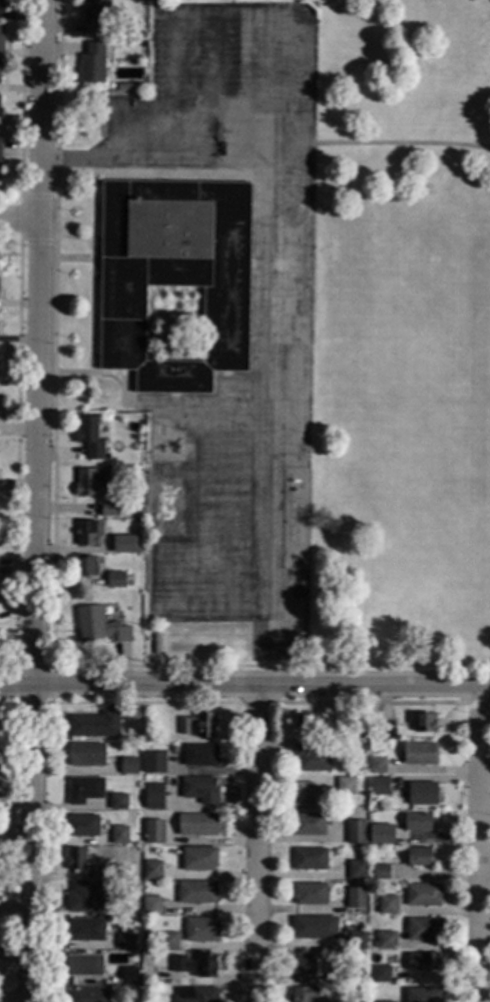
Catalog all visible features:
building: (1, 6)
building: (95, 17)
building: (1, 36)
building: (125, 47)
building: (94, 61)
building: (0, 75)
building: (125, 87)
road: (21, 98)
road: (55, 98)
building: (0, 107)
building: (1, 112)
road: (195, 123)
road: (400, 142)
building: (0, 148)
road: (80, 158)
road: (20, 219)
road: (19, 220)
building: (174, 275)
park: (439, 307)
park: (429, 333)
road: (53, 430)
building: (89, 437)
road: (17, 454)
park: (452, 474)
building: (90, 480)
road: (37, 501)
building: (109, 508)
building: (88, 532)
park: (225, 536)
park: (205, 538)
building: (127, 543)
building: (85, 565)
building: (115, 580)
building: (99, 625)
road: (245, 685)
road: (51, 703)
building: (306, 721)
building: (424, 722)
building: (94, 724)
building: (200, 724)
building: (354, 728)
building: (383, 729)
building: (137, 734)
building: (362, 746)
building: (173, 749)
building: (420, 753)
building: (86, 754)
building: (200, 755)
building: (312, 757)
building: (154, 761)
building: (128, 764)
building: (377, 765)
building: (344, 784)
building: (379, 785)
building: (199, 788)
building: (84, 789)
building: (421, 793)
building: (154, 795)
building: (302, 795)
building: (118, 801)
building: (378, 807)
road: (10, 809)
building: (417, 821)
building: (197, 824)
building: (308, 824)
building: (82, 825)
building: (155, 828)
building: (355, 831)
building: (381, 833)
building: (118, 834)
road: (482, 842)
road: (259, 843)
building: (420, 856)
building: (199, 858)
building: (309, 858)
building: (76, 859)
road: (486, 867)
building: (152, 869)
building: (356, 869)
building: (381, 871)
building: (114, 872)
building: (196, 891)
building: (309, 892)
building: (89, 894)
building: (422, 894)
building: (355, 897)
building: (388, 904)
building: (152, 905)
road: (16, 908)
building: (314, 927)
building: (86, 929)
building: (201, 929)
building: (423, 929)
building: (148, 935)
building: (168, 940)
building: (355, 940)
building: (386, 940)
building: (124, 941)
building: (421, 961)
building: (304, 963)
building: (84, 964)
building: (195, 964)
building: (380, 973)
building: (129, 974)
building: (340, 977)
building: (304, 993)
building: (88, 994)
building: (422, 994)
building: (197, 995)
building: (333, 1001)
building: (385, 1001)

